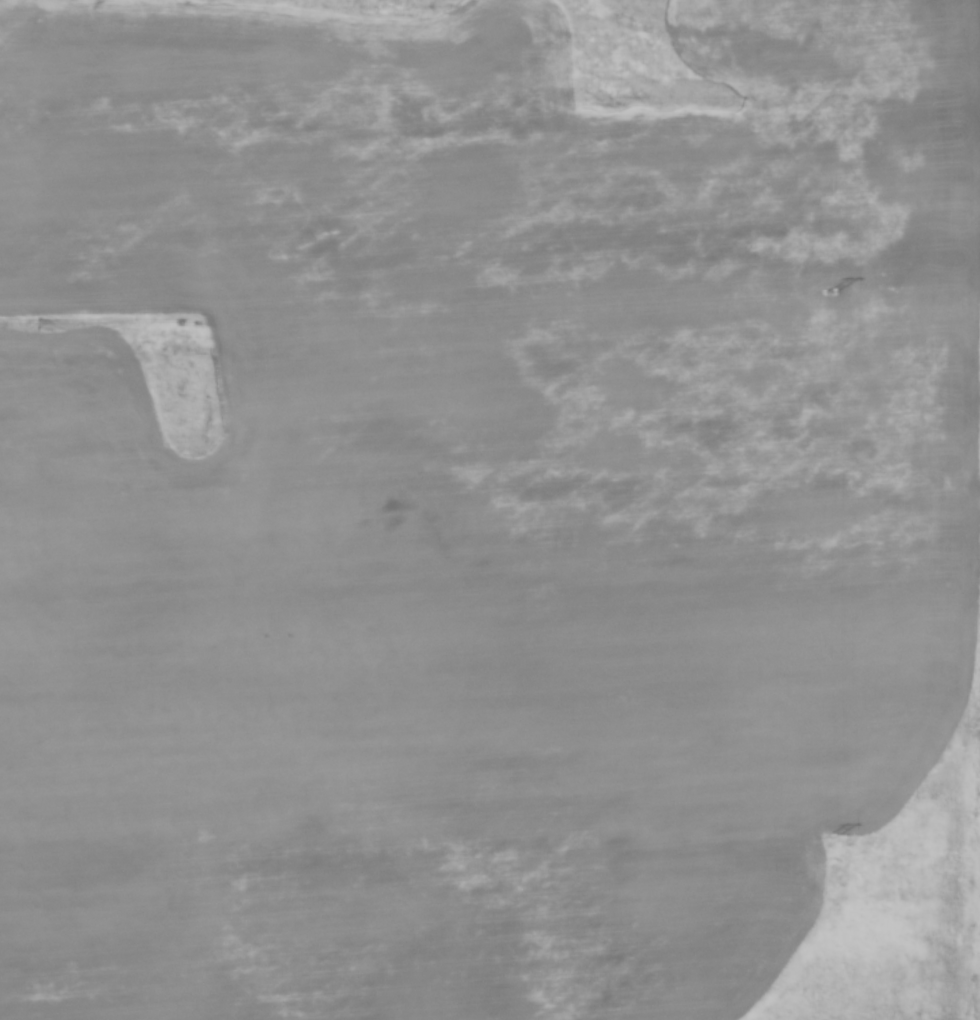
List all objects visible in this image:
power tower: (831, 294)
power tower: (830, 840)

